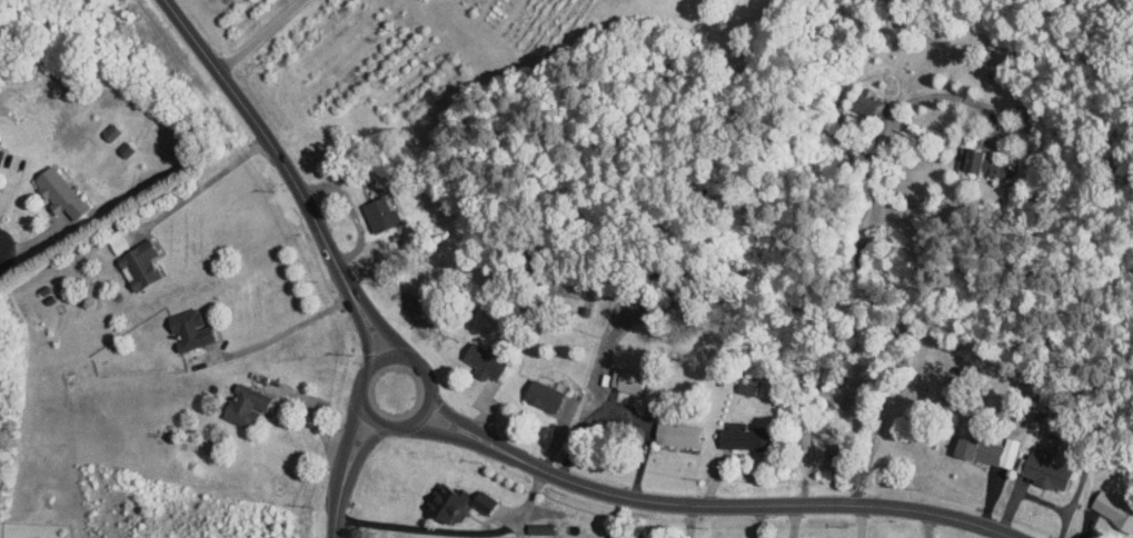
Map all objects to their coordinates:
road: (260, 36)
building: (867, 101)
building: (109, 131)
road: (271, 142)
building: (0, 149)
building: (981, 161)
road: (205, 182)
building: (58, 192)
building: (378, 212)
road: (12, 242)
building: (133, 259)
road: (861, 267)
road: (382, 325)
building: (187, 328)
road: (287, 329)
road: (366, 332)
building: (483, 360)
road: (419, 365)
building: (626, 381)
building: (747, 382)
building: (543, 392)
building: (244, 403)
road: (623, 408)
road: (446, 411)
road: (435, 432)
building: (675, 434)
building: (741, 436)
road: (348, 439)
building: (988, 449)
road: (361, 451)
building: (1044, 467)
road: (1035, 496)
building: (481, 500)
building: (443, 501)
road: (734, 504)
building: (1113, 508)
road: (339, 509)
road: (793, 520)
road: (859, 521)
road: (930, 525)
building: (538, 527)
road: (457, 530)

